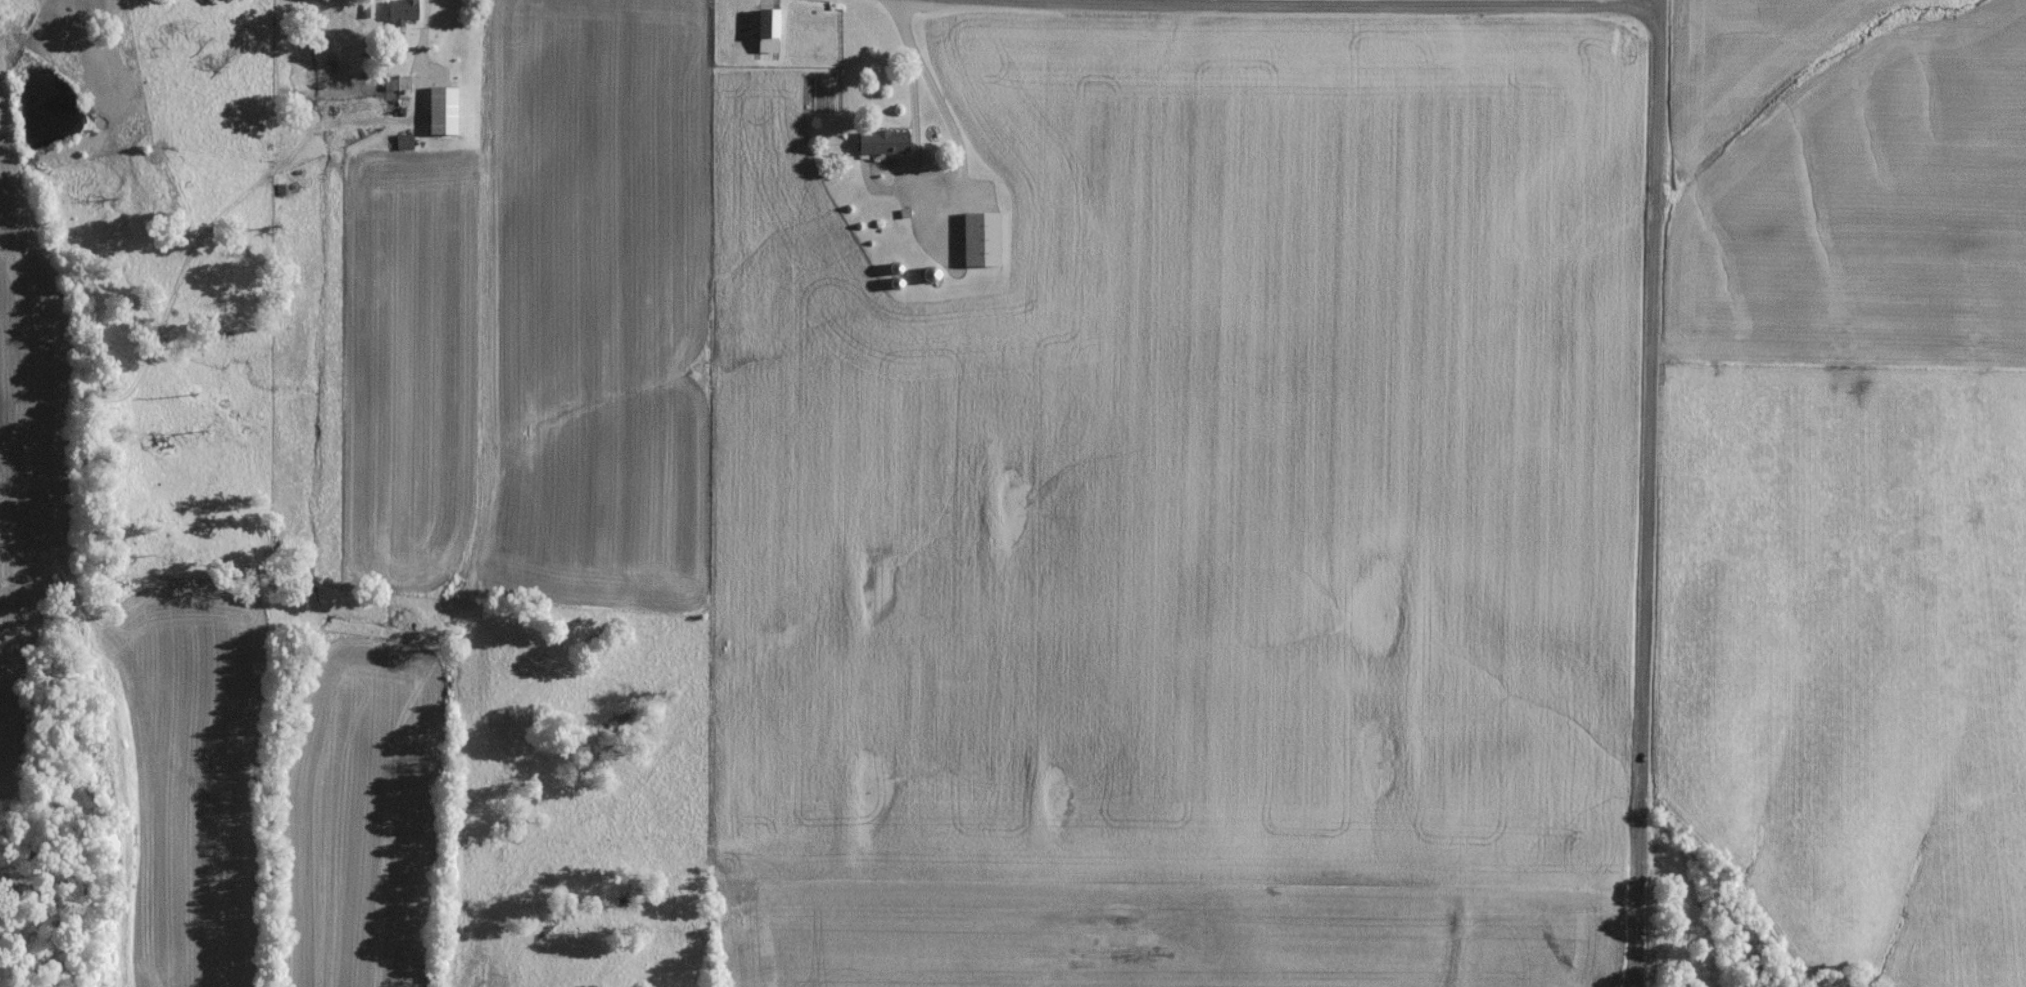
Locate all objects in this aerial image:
road: (1340, 6)
building: (402, 15)
road: (906, 26)
building: (766, 28)
road: (418, 60)
building: (396, 88)
building: (444, 115)
building: (403, 147)
building: (884, 147)
road: (912, 176)
building: (980, 244)
road: (1649, 493)

